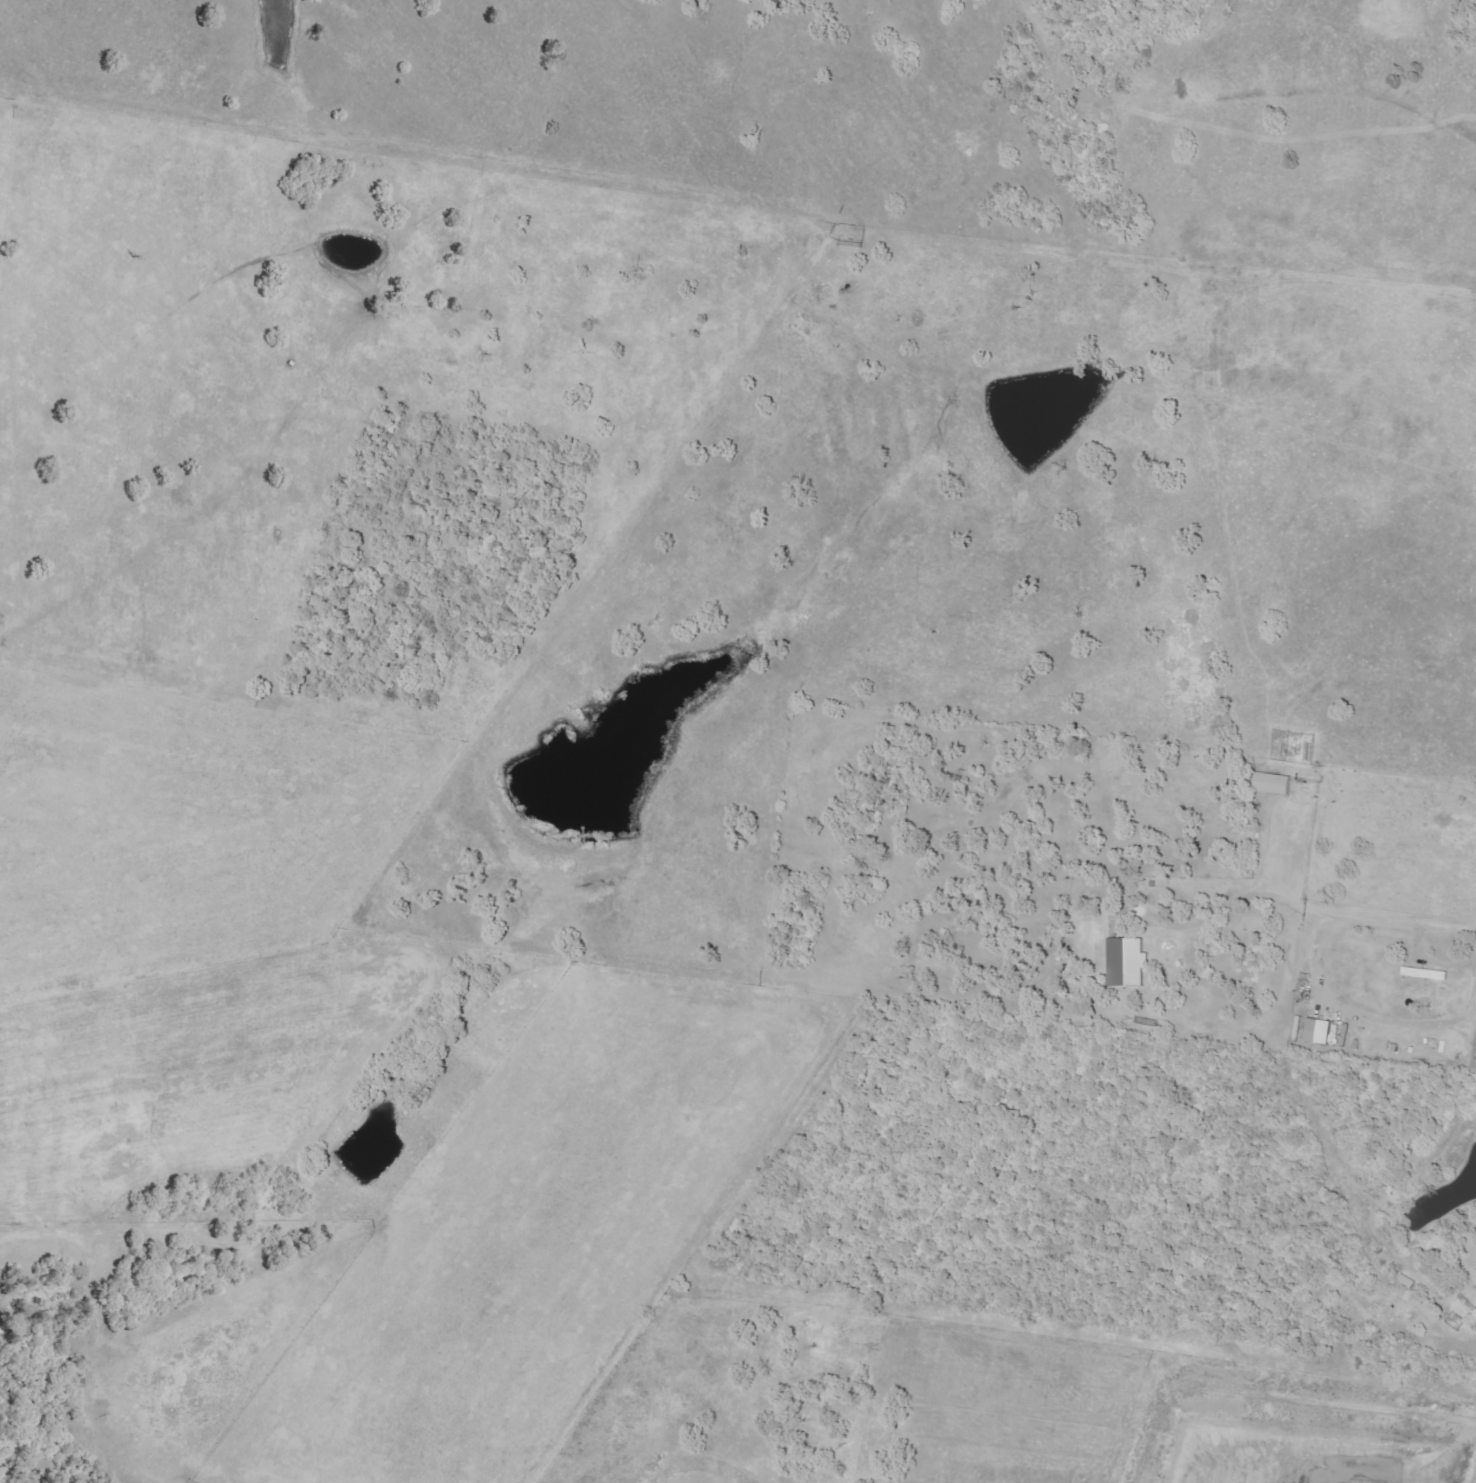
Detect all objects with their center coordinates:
building: (1270, 784)
road: (1328, 912)
building: (1125, 962)
building: (1423, 973)
building: (1315, 1031)
building: (1332, 1034)
building: (1405, 1282)

